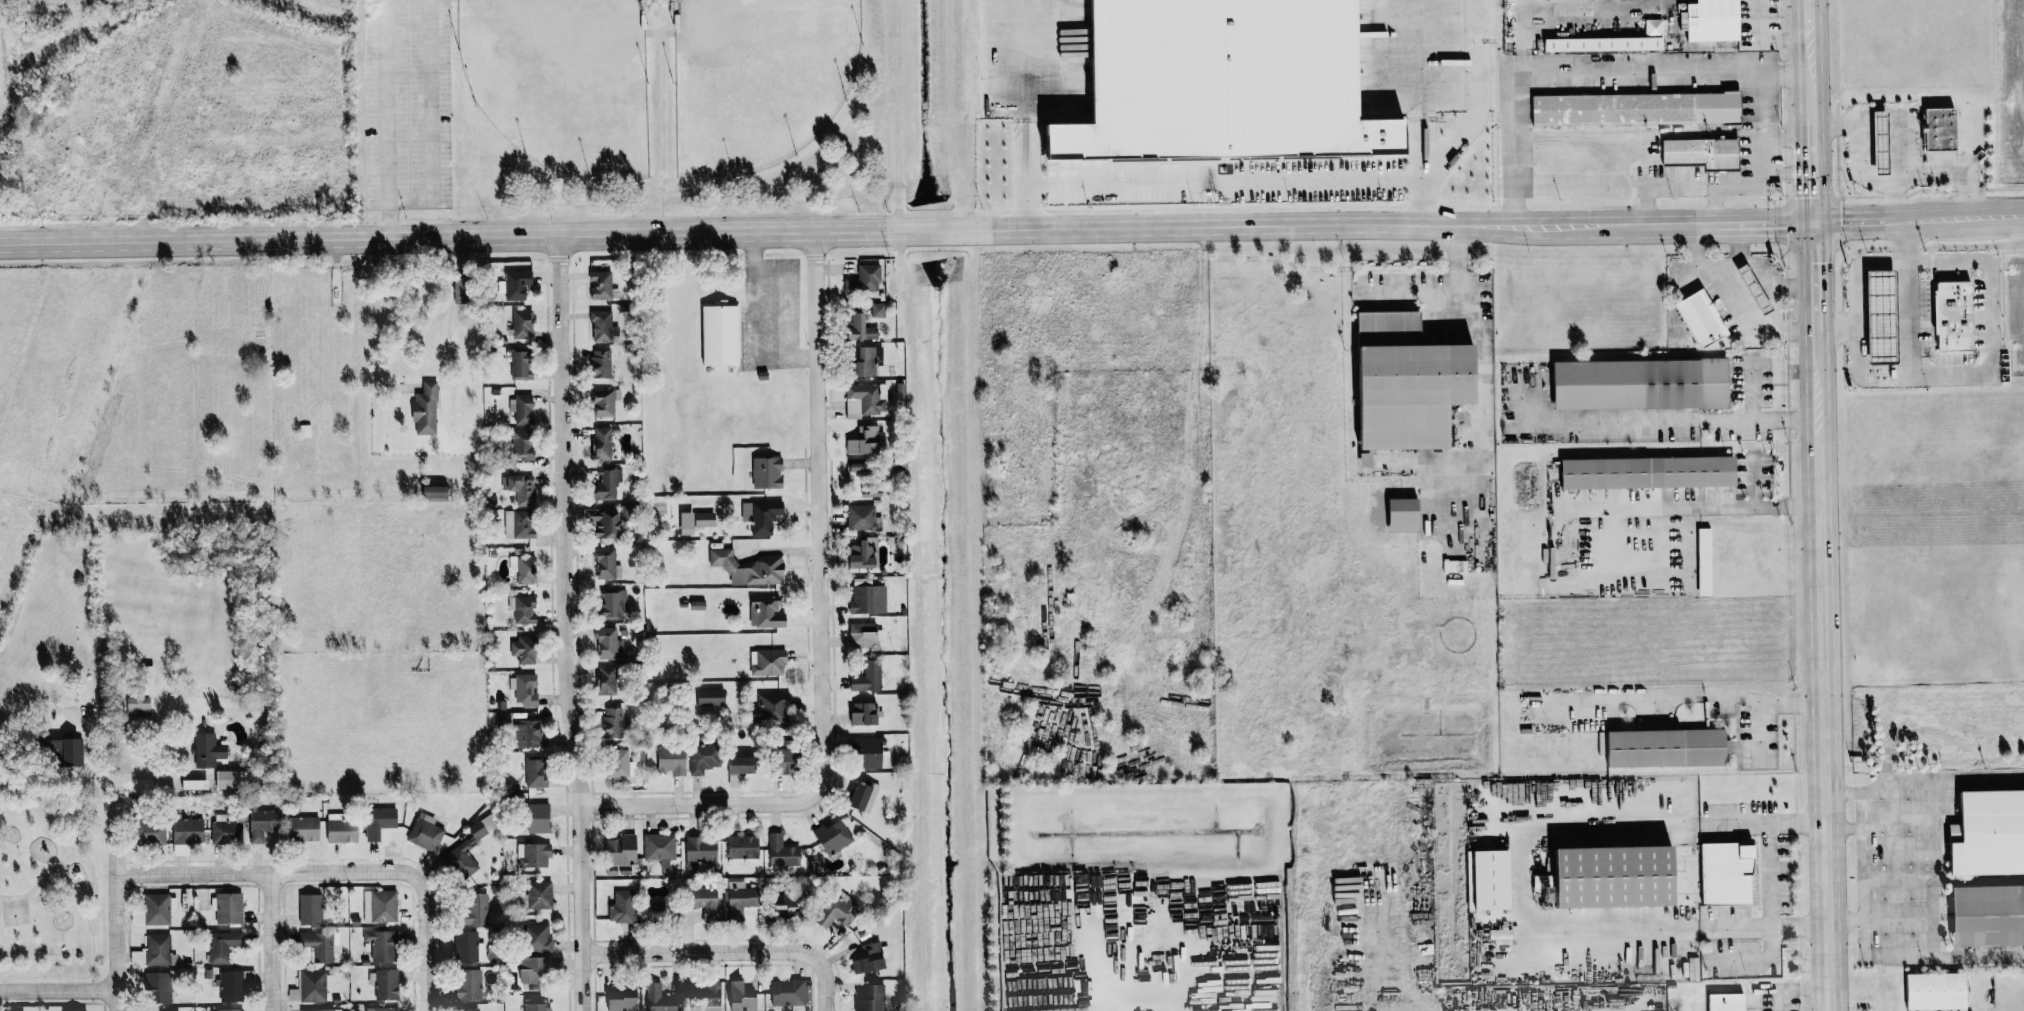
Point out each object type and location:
road: (1761, 14)
building: (1705, 20)
road: (1809, 37)
building: (1607, 41)
road: (1588, 72)
building: (1209, 82)
road: (1811, 92)
road: (386, 100)
building: (1630, 108)
road: (1421, 113)
road: (1025, 114)
road: (429, 121)
building: (1935, 128)
building: (1874, 142)
building: (1696, 152)
road: (1858, 164)
road: (1813, 165)
road: (1756, 173)
road: (1785, 173)
road: (1952, 175)
road: (1223, 181)
road: (1661, 187)
road: (1965, 217)
road: (388, 219)
road: (1860, 221)
road: (1763, 224)
road: (1613, 226)
road: (756, 232)
road: (1907, 240)
road: (754, 268)
road: (1856, 271)
road: (1815, 278)
building: (865, 280)
building: (515, 285)
building: (602, 285)
building: (878, 310)
building: (1949, 315)
road: (755, 316)
road: (785, 316)
building: (1875, 316)
building: (1694, 319)
road: (1909, 320)
building: (522, 324)
road: (375, 325)
building: (604, 325)
building: (862, 328)
building: (722, 335)
road: (1483, 343)
road: (771, 360)
road: (801, 360)
building: (868, 361)
building: (601, 364)
building: (522, 365)
road: (1816, 376)
road: (1978, 379)
building: (1400, 383)
building: (1635, 384)
building: (863, 401)
building: (604, 403)
building: (523, 409)
building: (426, 410)
road: (1676, 419)
building: (865, 441)
building: (604, 443)
building: (523, 444)
building: (1642, 472)
building: (768, 473)
building: (609, 484)
building: (521, 489)
building: (437, 493)
road: (1694, 509)
building: (1396, 515)
building: (764, 516)
building: (861, 518)
building: (608, 522)
building: (697, 522)
building: (519, 524)
building: (865, 556)
building: (1700, 561)
building: (606, 563)
building: (1448, 566)
building: (749, 568)
building: (524, 569)
building: (865, 599)
building: (613, 605)
building: (767, 612)
building: (524, 613)
road: (565, 623)
road: (821, 633)
building: (864, 635)
building: (609, 644)
building: (524, 650)
building: (768, 662)
building: (868, 678)
building: (150, 680)
building: (612, 680)
building: (524, 689)
building: (711, 697)
road: (1629, 699)
road: (1764, 700)
building: (773, 707)
building: (139, 709)
building: (864, 714)
road: (1823, 714)
building: (615, 724)
road: (1762, 730)
building: (528, 734)
building: (1661, 747)
building: (64, 750)
building: (209, 750)
building: (865, 751)
building: (704, 758)
building: (672, 761)
building: (620, 764)
building: (744, 765)
building: (536, 773)
building: (230, 780)
building: (196, 785)
building: (858, 795)
road: (1864, 811)
building: (539, 818)
building: (380, 823)
building: (260, 827)
building: (304, 829)
building: (342, 830)
building: (225, 831)
building: (1985, 832)
building: (155, 833)
building: (188, 833)
building: (426, 833)
building: (829, 835)
building: (468, 842)
building: (738, 846)
building: (659, 850)
building: (701, 850)
building: (778, 850)
building: (623, 851)
building: (534, 855)
road: (82, 857)
road: (58, 859)
road: (268, 873)
building: (1720, 873)
building: (1606, 874)
road: (1517, 876)
building: (1484, 877)
park: (53, 890)
road: (1864, 892)
building: (540, 895)
building: (698, 898)
building: (735, 899)
building: (774, 900)
road: (116, 901)
building: (380, 906)
building: (831, 907)
building: (228, 908)
building: (622, 908)
building: (157, 909)
building: (475, 909)
park: (14, 910)
building: (310, 910)
building: (1983, 913)
building: (537, 938)
road: (1165, 939)
road: (271, 942)
road: (427, 942)
building: (223, 945)
building: (381, 945)
building: (319, 946)
building: (468, 946)
building: (153, 951)
road: (700, 952)
building: (883, 954)
building: (866, 957)
building: (535, 968)
road: (62, 977)
road: (824, 983)
building: (386, 984)
building: (235, 985)
building: (469, 985)
building: (311, 986)
building: (158, 987)
road: (1796, 988)
road: (58, 990)
building: (1930, 990)
building: (700, 992)
building: (784, 992)
building: (736, 996)
building: (653, 997)
building: (619, 998)
building: (867, 999)
building: (1723, 1001)
building: (533, 1006)
building: (382, 1009)
building: (467, 1009)
building: (78, 1010)
building: (163, 1010)
building: (228, 1010)
building: (318, 1010)

